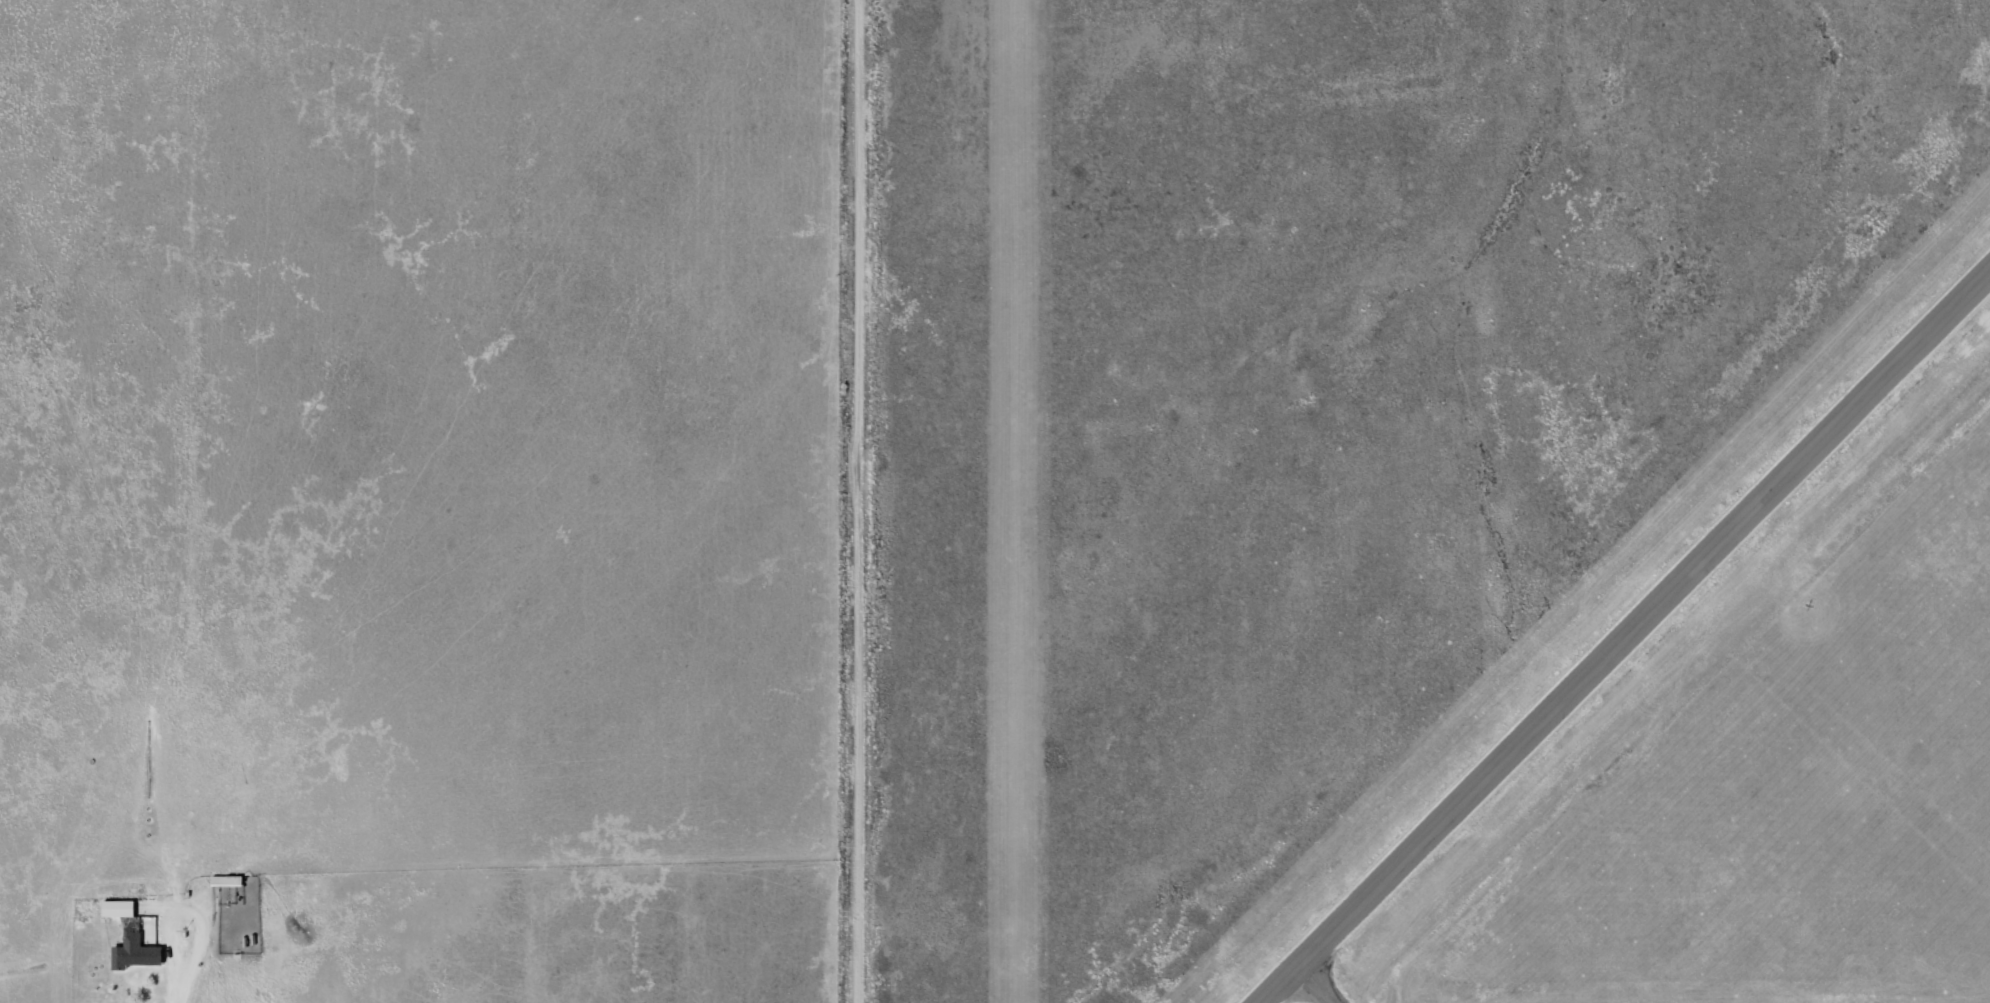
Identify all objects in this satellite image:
road: (859, 501)
airport runway: (1021, 501)
airport: (1429, 501)
airport runway: (1626, 638)
road: (189, 919)
building: (136, 947)
airport taxiway: (1315, 985)

